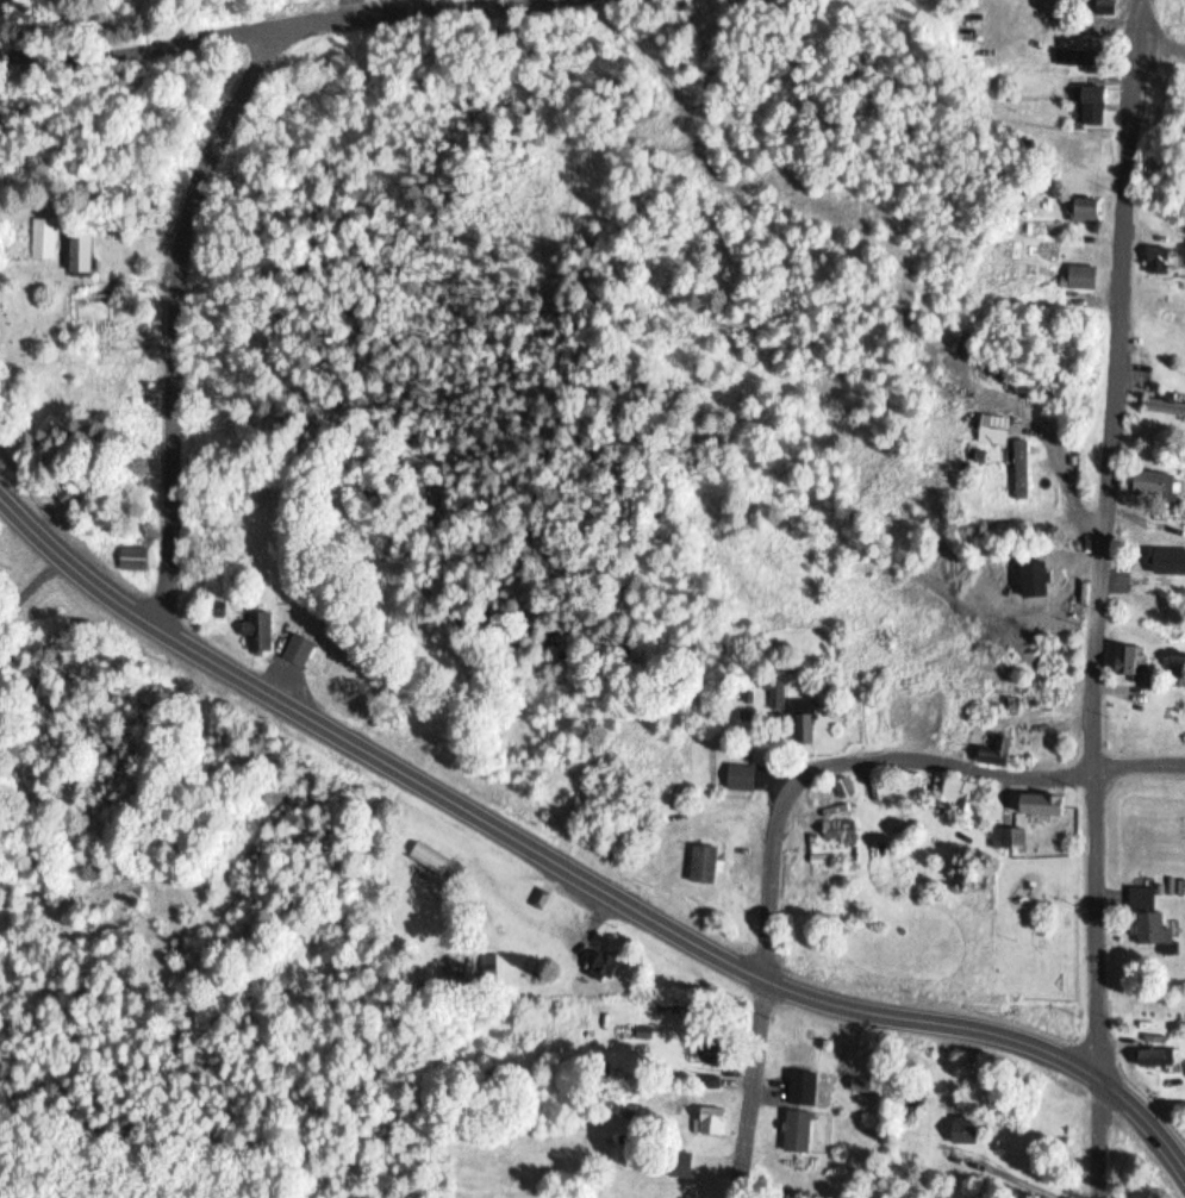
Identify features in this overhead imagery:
road: (249, 35)
road: (1161, 46)
building: (1083, 60)
building: (1093, 104)
building: (1085, 211)
building: (44, 238)
building: (82, 254)
building: (1160, 260)
building: (1084, 276)
road: (181, 317)
building: (1165, 406)
building: (1027, 469)
building: (1154, 482)
road: (1104, 598)
building: (256, 631)
building: (300, 649)
building: (1133, 663)
building: (778, 693)
building: (805, 723)
building: (1003, 753)
road: (885, 765)
building: (744, 778)
building: (956, 792)
building: (1046, 805)
building: (841, 831)
building: (1009, 838)
building: (706, 863)
road: (579, 873)
building: (1149, 919)
building: (601, 965)
building: (716, 1054)
building: (1156, 1056)
building: (868, 1086)
road: (747, 1090)
building: (711, 1121)
building: (967, 1131)
building: (800, 1133)
building: (628, 1146)
building: (684, 1163)

